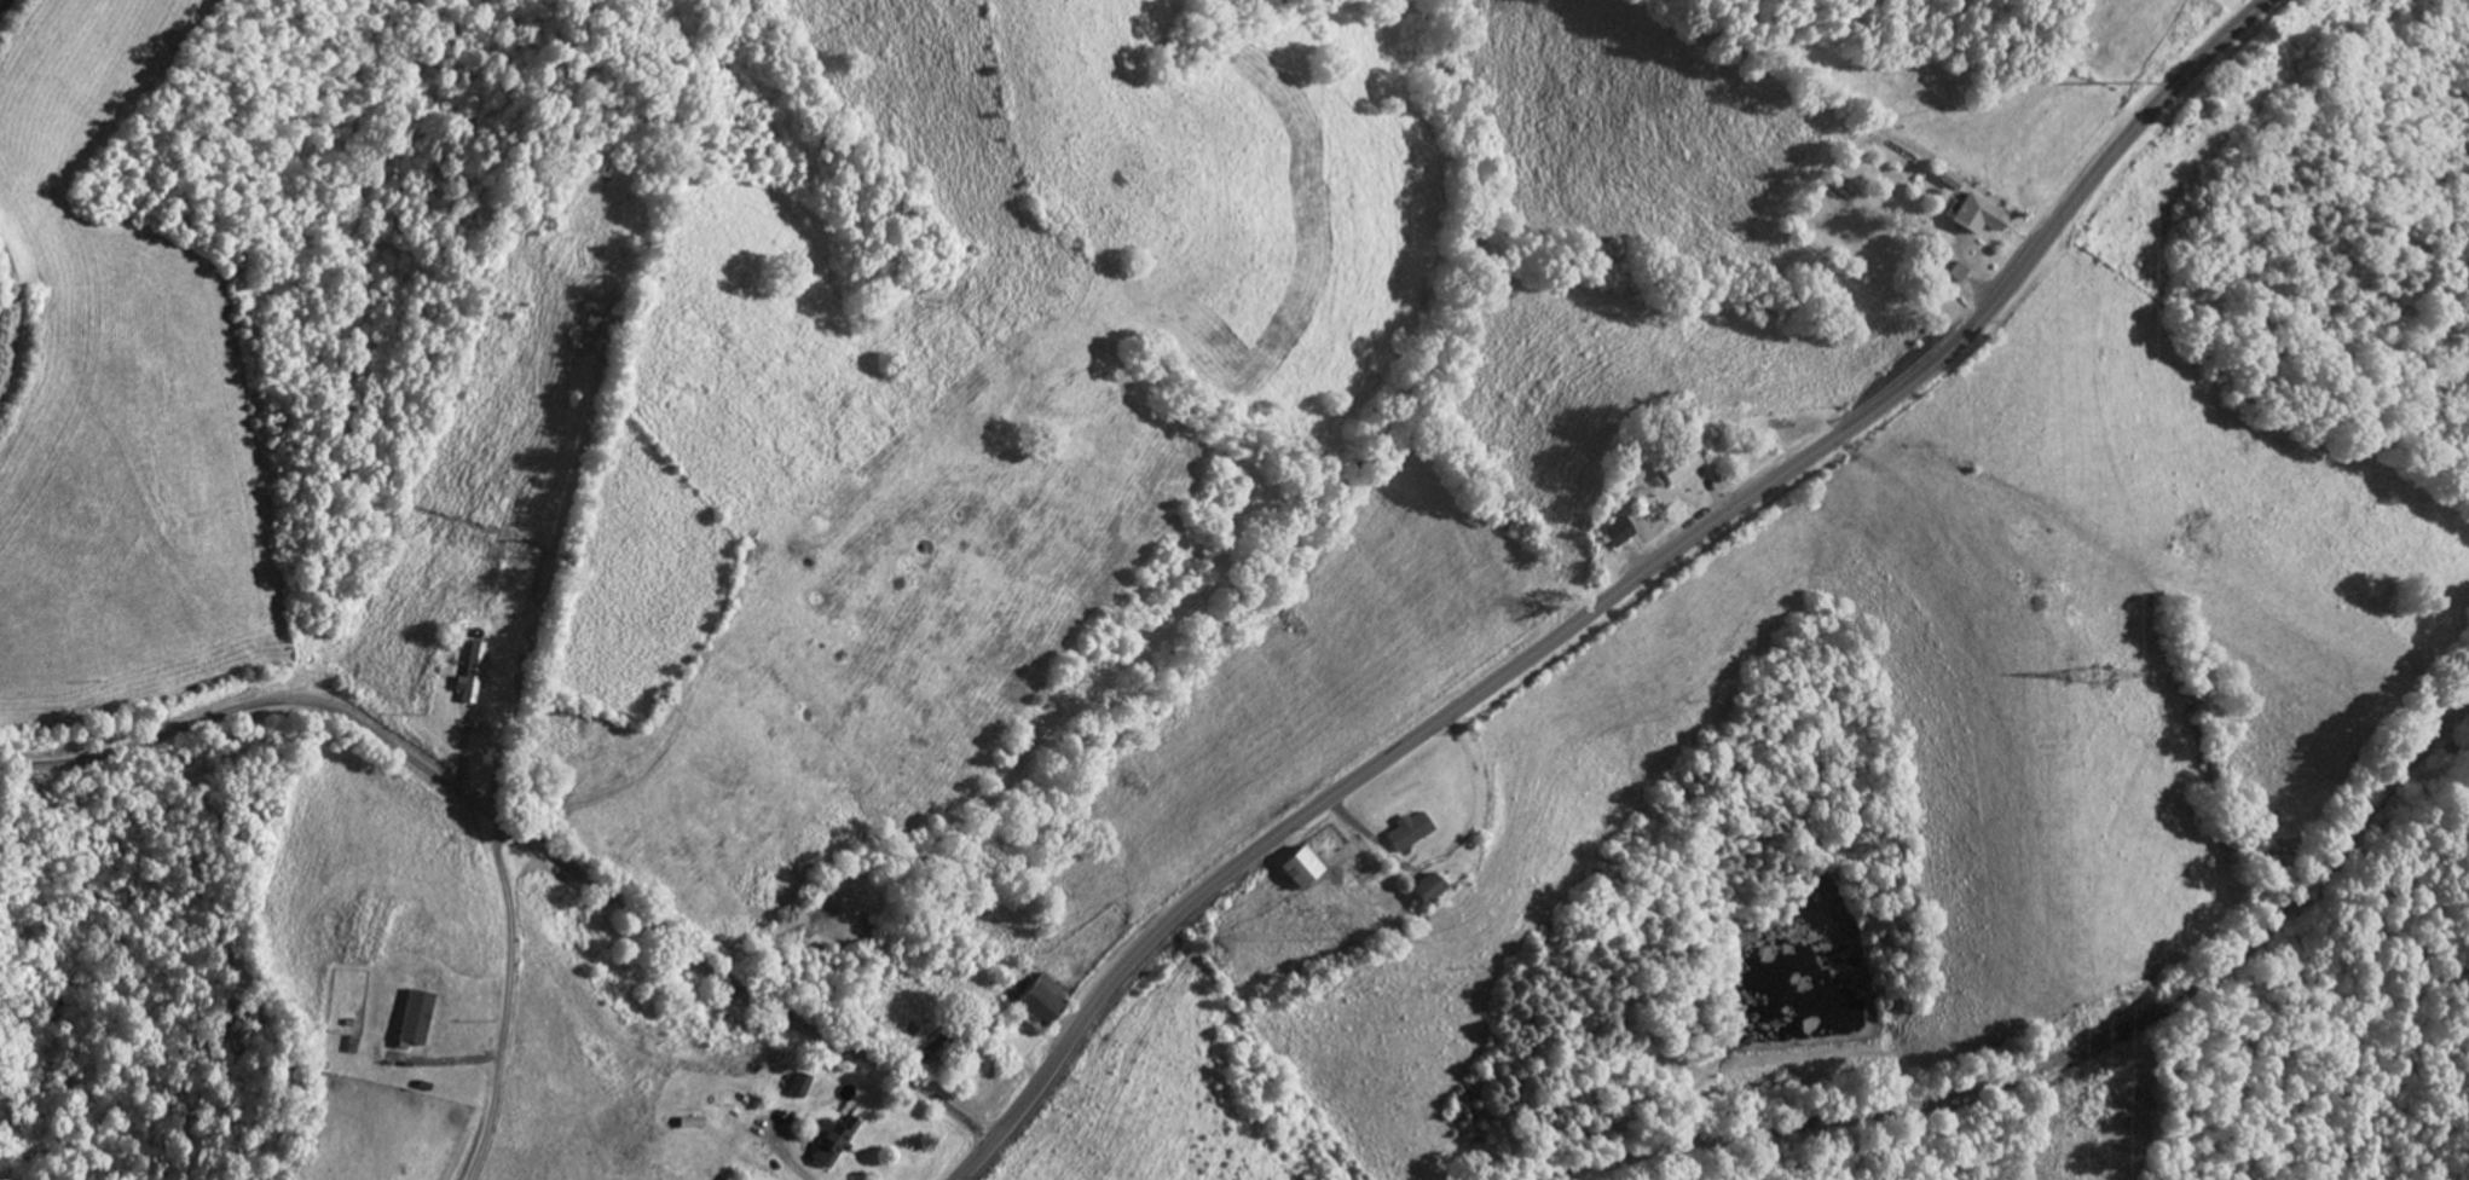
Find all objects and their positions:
building: (1982, 215)
building: (601, 331)
building: (1684, 469)
building: (1621, 532)
road: (1617, 595)
building: (475, 676)
power tower: (2110, 676)
building: (1411, 831)
road: (519, 832)
building: (1305, 866)
building: (1432, 885)
building: (1042, 1000)
railway: (2049, 1055)
building: (834, 1139)

